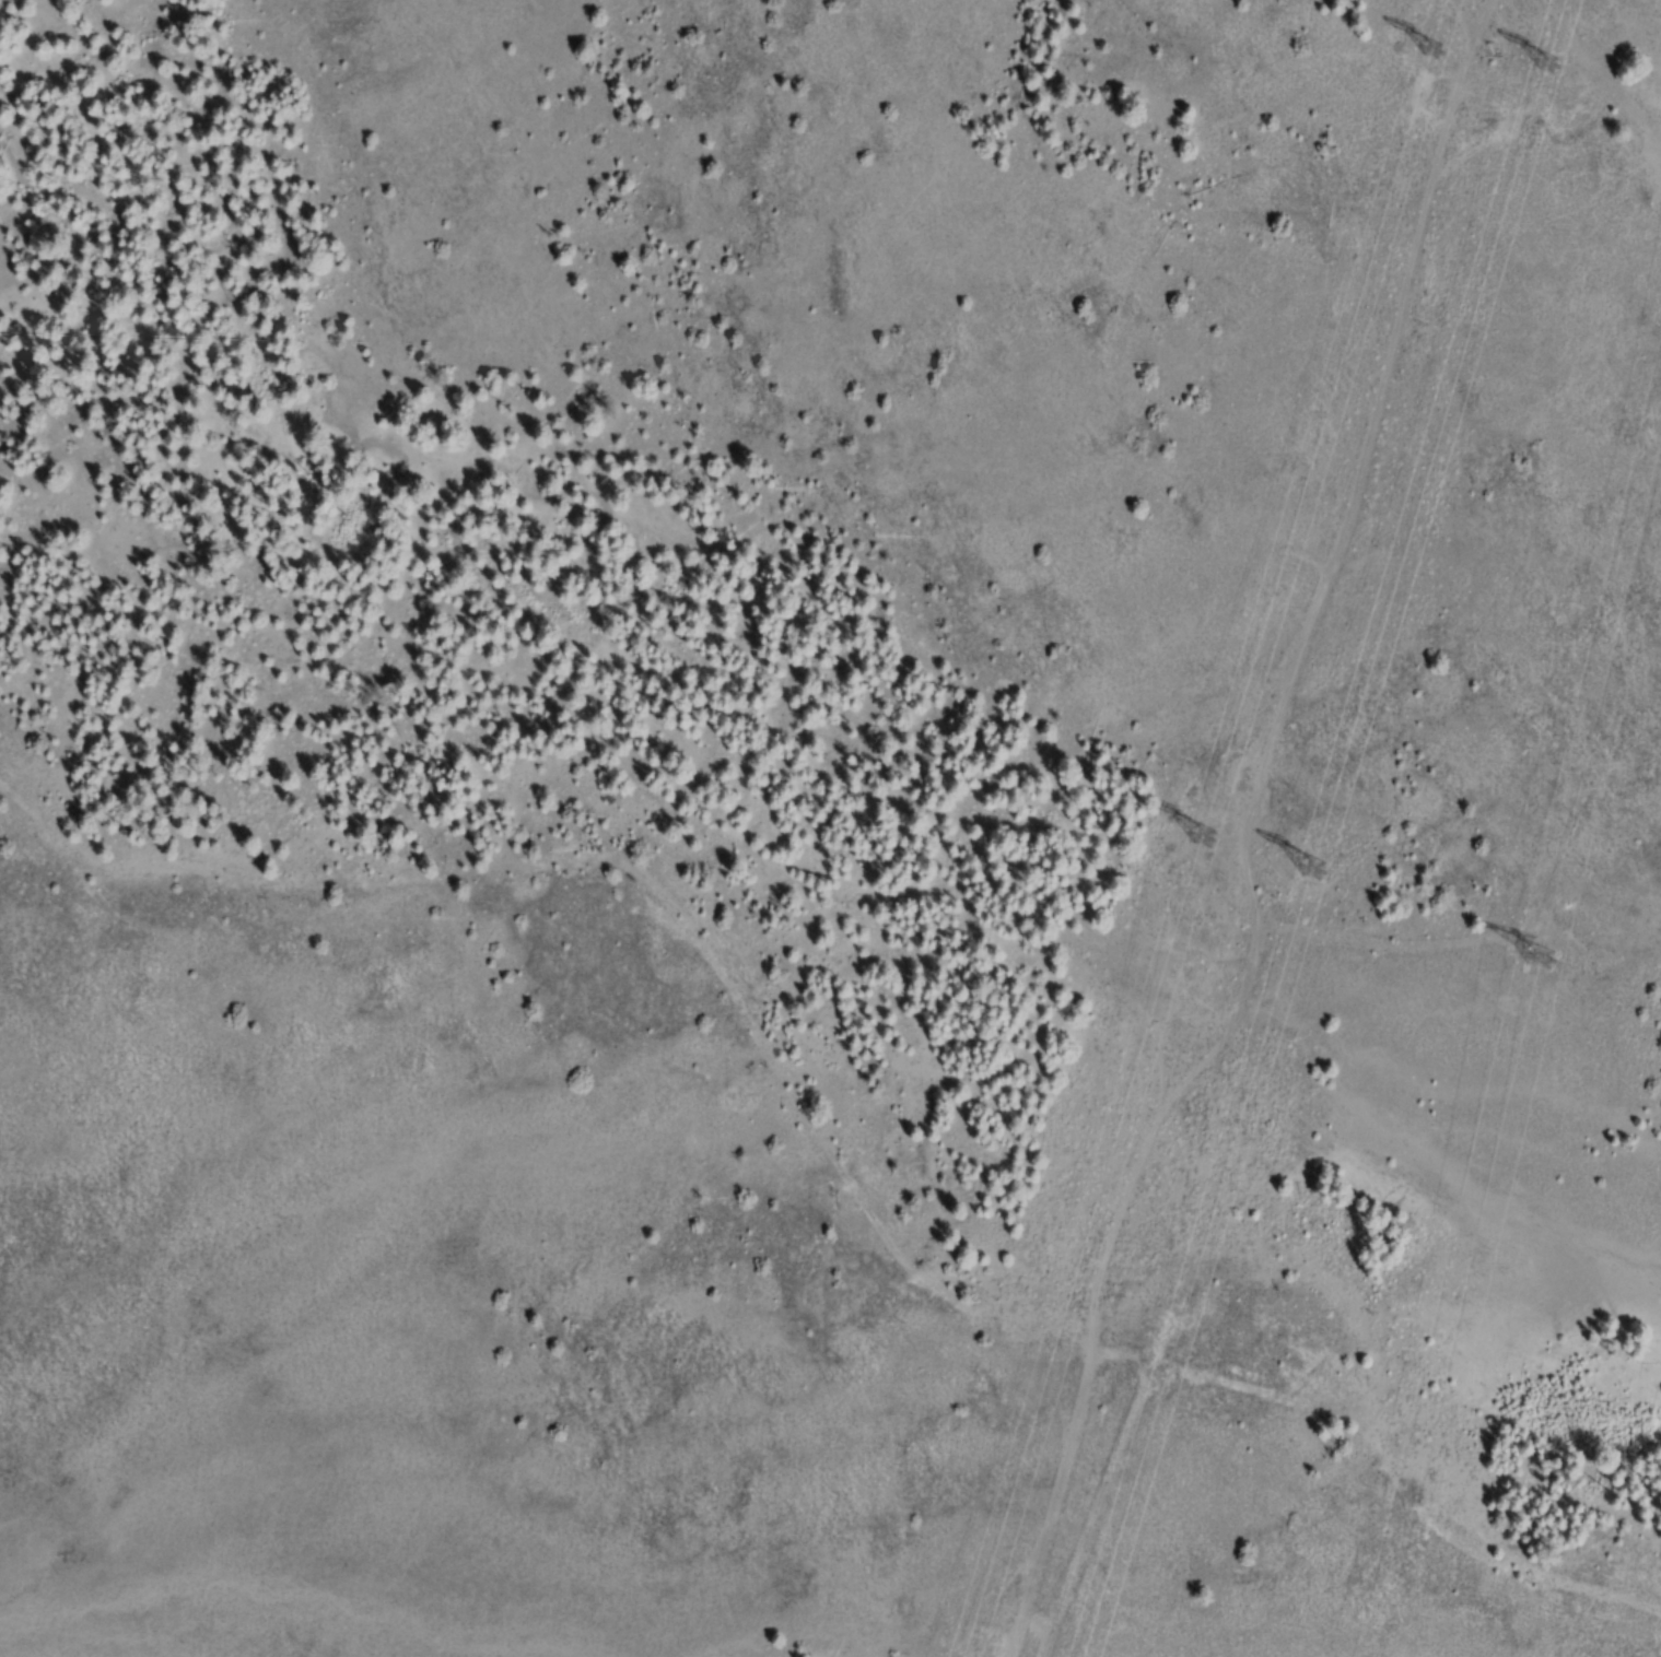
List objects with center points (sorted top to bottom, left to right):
power tower: (1545, 37)
power tower: (1432, 39)
road: (1294, 677)
power tower: (1194, 814)
power tower: (1314, 841)
road: (667, 895)
power tower: (1531, 945)
road: (1418, 1459)

